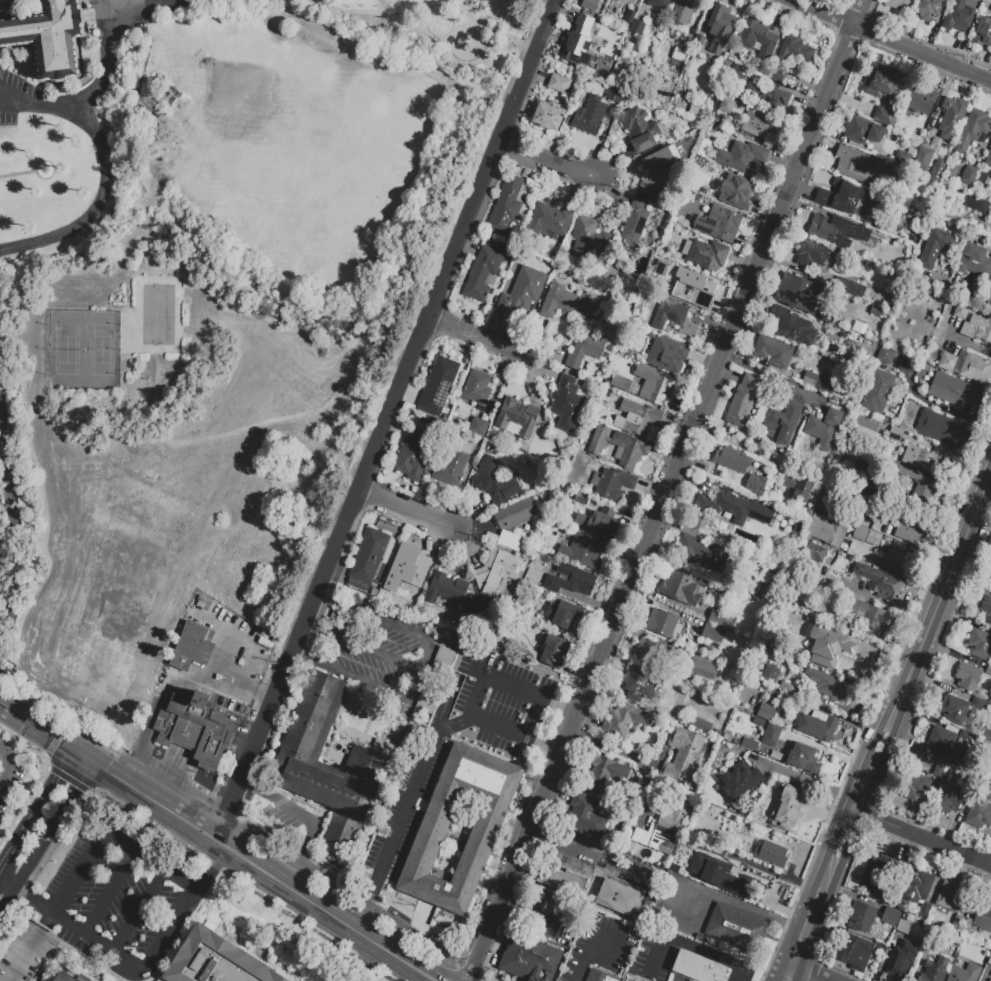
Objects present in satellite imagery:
road: (108, 3)
road: (317, 3)
building: (660, 3)
road: (119, 4)
building: (588, 4)
building: (901, 4)
road: (636, 6)
building: (928, 9)
building: (684, 10)
road: (642, 11)
road: (778, 12)
road: (823, 13)
building: (960, 15)
parking lot: (119, 18)
road: (708, 18)
building: (631, 19)
road: (697, 21)
building: (720, 26)
building: (638, 29)
building: (984, 29)
park: (436, 31)
road: (485, 31)
building: (49, 36)
building: (759, 36)
road: (435, 41)
building: (579, 41)
building: (700, 44)
building: (686, 47)
road: (923, 53)
building: (790, 56)
road: (537, 76)
road: (100, 80)
building: (880, 80)
building: (558, 83)
building: (614, 93)
parking lot: (13, 97)
building: (770, 97)
building: (921, 99)
road: (17, 105)
building: (549, 115)
building: (589, 115)
building: (885, 115)
building: (951, 117)
building: (758, 123)
building: (640, 128)
building: (863, 130)
building: (972, 130)
park: (276, 133)
road: (601, 139)
building: (742, 155)
building: (988, 158)
road: (545, 159)
building: (924, 159)
road: (613, 161)
building: (855, 163)
road: (50, 165)
building: (938, 171)
road: (619, 172)
road: (17, 173)
building: (656, 173)
building: (969, 174)
road: (103, 189)
road: (575, 191)
road: (612, 192)
building: (739, 192)
building: (842, 196)
road: (590, 198)
building: (982, 205)
building: (505, 208)
building: (549, 221)
building: (719, 222)
building: (635, 226)
building: (837, 230)
building: (590, 241)
road: (458, 246)
road: (470, 247)
building: (933, 247)
building: (809, 253)
building: (707, 254)
building: (976, 260)
building: (483, 272)
building: (696, 287)
building: (522, 290)
building: (856, 292)
building: (798, 293)
building: (567, 302)
building: (961, 310)
building: (876, 313)
park: (159, 316)
building: (673, 317)
road: (498, 326)
building: (793, 326)
building: (966, 328)
building: (981, 328)
building: (860, 329)
road: (477, 335)
road: (538, 337)
road: (970, 342)
building: (587, 347)
building: (773, 350)
park: (85, 351)
road: (546, 351)
building: (666, 353)
building: (886, 357)
building: (966, 365)
road: (540, 370)
building: (593, 374)
road: (781, 378)
road: (529, 379)
building: (817, 382)
building: (622, 383)
building: (438, 384)
road: (501, 385)
building: (477, 387)
building: (659, 389)
building: (954, 390)
building: (877, 391)
road: (412, 392)
building: (743, 400)
building: (566, 403)
road: (938, 405)
building: (518, 416)
building: (638, 416)
building: (782, 422)
building: (479, 426)
building: (823, 427)
building: (940, 428)
road: (400, 430)
building: (894, 433)
building: (618, 449)
building: (413, 456)
building: (919, 457)
building: (731, 460)
building: (451, 467)
building: (867, 473)
building: (495, 481)
building: (611, 481)
building: (754, 484)
building: (797, 488)
building: (921, 488)
road: (666, 490)
building: (772, 490)
road: (430, 497)
building: (582, 498)
building: (847, 499)
building: (740, 507)
road: (407, 510)
building: (515, 513)
road: (472, 514)
road: (14, 516)
building: (598, 521)
building: (886, 528)
building: (909, 529)
building: (825, 530)
road: (477, 531)
building: (866, 535)
road: (432, 540)
building: (510, 540)
road: (468, 547)
building: (584, 550)
building: (701, 552)
building: (814, 553)
building: (368, 555)
road: (338, 567)
road: (468, 568)
building: (407, 569)
road: (897, 570)
building: (496, 571)
building: (769, 576)
building: (569, 580)
building: (880, 581)
building: (682, 585)
road: (943, 585)
building: (990, 587)
building: (445, 589)
building: (373, 591)
building: (813, 598)
building: (202, 602)
building: (472, 606)
building: (987, 609)
building: (865, 612)
building: (562, 613)
building: (720, 617)
building: (231, 620)
building: (662, 623)
parking lot: (387, 624)
building: (712, 632)
building: (258, 634)
road: (298, 635)
building: (270, 639)
building: (830, 639)
building: (453, 642)
building: (505, 644)
building: (979, 644)
building: (192, 646)
building: (553, 651)
road: (245, 652)
building: (656, 655)
building: (855, 662)
parking lot: (237, 664)
parking lot: (369, 664)
road: (423, 665)
building: (703, 666)
building: (989, 671)
building: (773, 674)
building: (967, 676)
building: (436, 679)
road: (174, 682)
building: (637, 682)
road: (511, 684)
building: (829, 686)
building: (678, 700)
parking lot: (496, 703)
building: (980, 704)
building: (954, 709)
building: (766, 712)
building: (625, 720)
building: (758, 721)
road: (66, 722)
building: (702, 724)
road: (37, 726)
building: (816, 726)
road: (79, 728)
building: (196, 728)
building: (717, 731)
building: (770, 734)
road: (878, 734)
building: (986, 735)
building: (726, 736)
road: (55, 739)
building: (940, 739)
building: (735, 741)
parking lot: (239, 742)
building: (749, 743)
building: (723, 749)
building: (775, 754)
road: (83, 755)
road: (633, 755)
building: (682, 755)
building: (803, 757)
road: (8, 759)
road: (67, 762)
building: (365, 763)
road: (422, 767)
building: (939, 768)
building: (988, 769)
road: (84, 772)
building: (605, 773)
road: (3, 777)
road: (804, 777)
building: (738, 779)
building: (913, 786)
road: (856, 789)
road: (278, 800)
building: (948, 800)
road: (154, 801)
road: (307, 802)
parking lot: (2, 807)
parking lot: (405, 808)
road: (59, 810)
road: (226, 810)
building: (586, 814)
building: (759, 814)
building: (979, 816)
parking lot: (280, 817)
building: (784, 817)
road: (859, 819)
road: (303, 820)
road: (29, 821)
building: (663, 826)
building: (430, 834)
road: (919, 838)
road: (550, 846)
road: (831, 848)
road: (301, 851)
building: (770, 853)
road: (151, 861)
parking lot: (300, 863)
road: (252, 864)
road: (210, 867)
parking lot: (613, 867)
road: (23, 868)
road: (614, 871)
building: (882, 872)
road: (180, 880)
building: (562, 880)
building: (735, 882)
building: (917, 886)
road: (370, 890)
road: (70, 891)
road: (109, 891)
road: (688, 893)
road: (22, 894)
building: (950, 895)
building: (617, 897)
road: (2, 903)
building: (648, 904)
building: (547, 907)
parking lot: (684, 907)
road: (808, 909)
parking lot: (107, 910)
road: (138, 910)
road: (283, 910)
building: (924, 910)
road: (754, 913)
road: (406, 915)
building: (861, 916)
building: (890, 916)
building: (983, 917)
building: (957, 922)
building: (903, 925)
road: (350, 926)
building: (739, 928)
road: (805, 933)
parking lot: (413, 937)
parking lot: (598, 947)
road: (792, 947)
road: (690, 948)
road: (806, 952)
building: (854, 952)
road: (590, 954)
parking lot: (655, 957)
building: (529, 959)
building: (216, 960)
road: (363, 961)
building: (899, 962)
road: (136, 965)
building: (694, 966)
road: (793, 966)
road: (433, 971)
building: (932, 971)
building: (719, 972)
road: (782, 972)
building: (964, 973)
road: (419, 974)
road: (817, 974)
road: (797, 975)
building: (599, 976)
building: (64, 977)
parking lot: (632, 978)
parking lot: (347, 979)
building: (694, 980)

